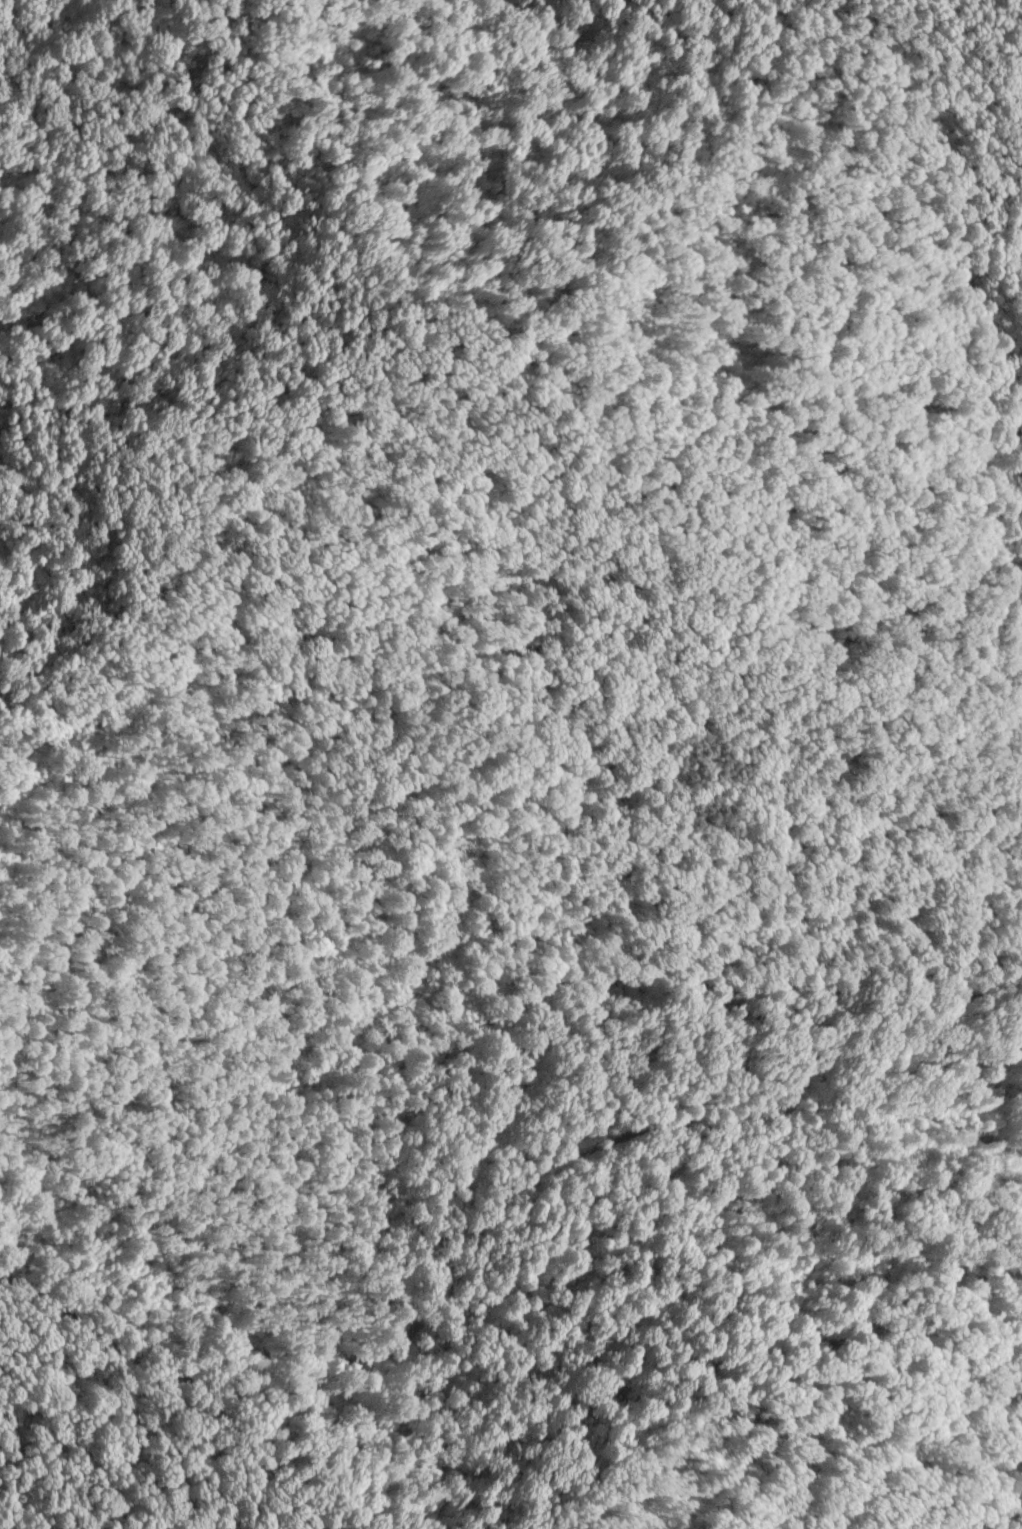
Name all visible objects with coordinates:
road: (557, 1155)
road: (183, 1389)

